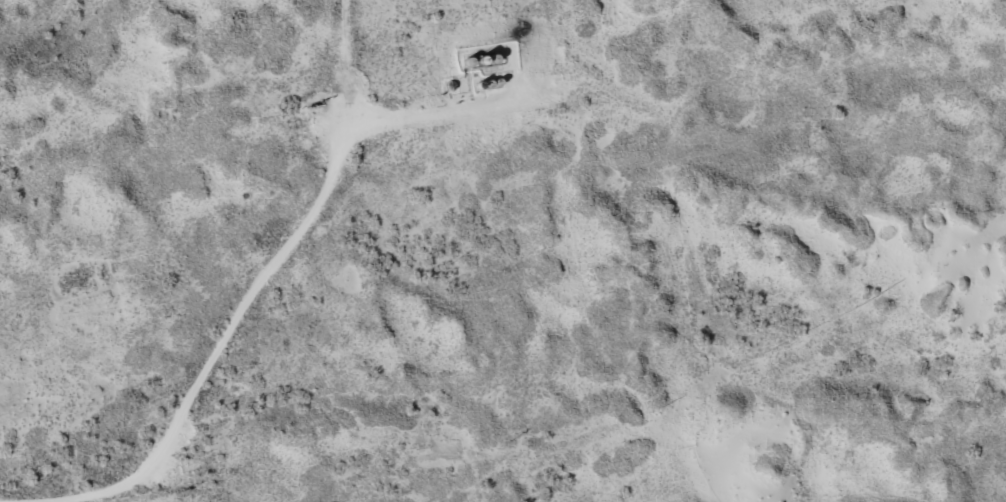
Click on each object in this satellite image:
road: (313, 276)

